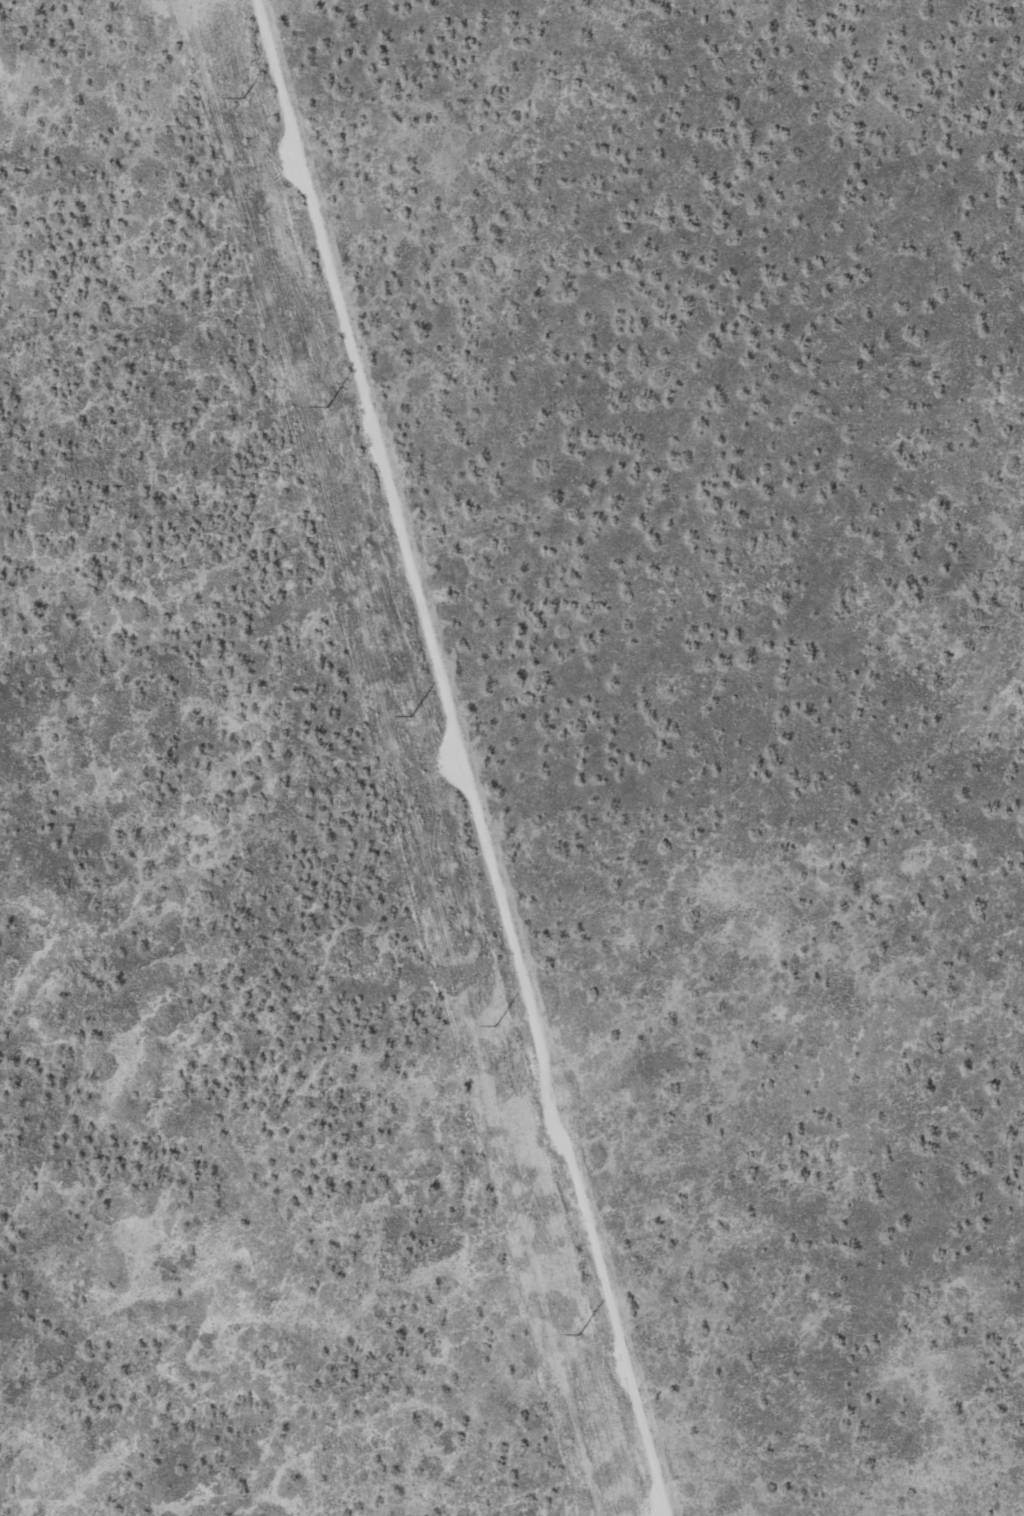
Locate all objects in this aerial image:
power tower: (243, 96)
power tower: (325, 406)
power tower: (410, 715)
power tower: (496, 1026)
power tower: (577, 1334)

